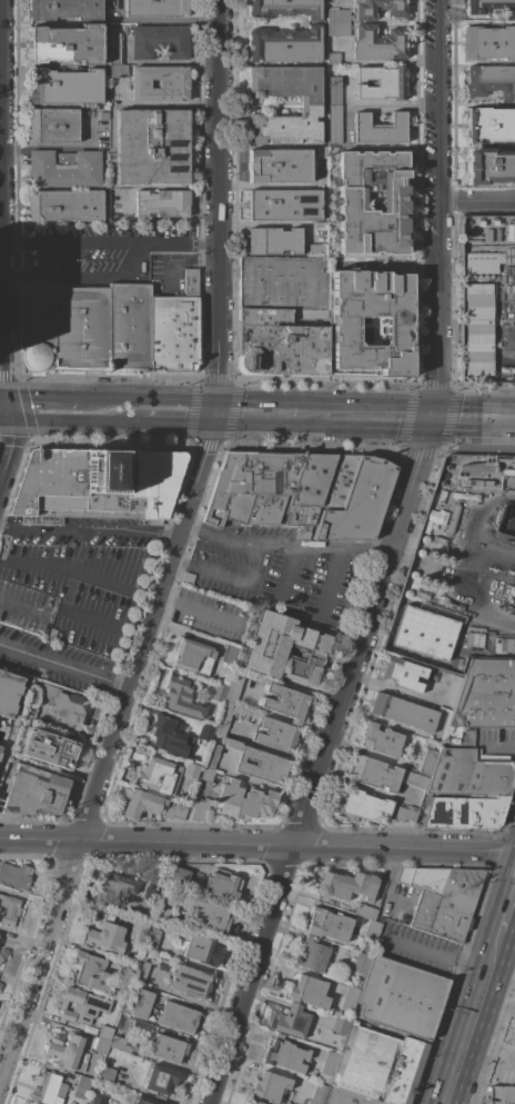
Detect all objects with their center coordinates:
building: (492, 7)
building: (156, 8)
building: (285, 8)
building: (377, 8)
building: (65, 9)
building: (339, 22)
building: (160, 41)
building: (488, 42)
building: (67, 43)
building: (378, 43)
building: (284, 44)
building: (115, 48)
building: (334, 58)
building: (119, 70)
building: (492, 81)
building: (285, 82)
building: (382, 82)
building: (160, 83)
building: (64, 87)
building: (334, 91)
road: (347, 103)
road: (392, 103)
building: (103, 116)
road: (0, 121)
building: (335, 125)
building: (489, 125)
building: (52, 126)
building: (285, 127)
building: (381, 128)
building: (152, 147)
building: (323, 152)
building: (279, 166)
building: (491, 166)
building: (64, 168)
road: (269, 185)
road: (476, 199)
road: (215, 201)
building: (162, 202)
building: (350, 203)
road: (437, 203)
building: (65, 205)
building: (284, 205)
building: (320, 226)
building: (273, 241)
road: (14, 242)
road: (81, 242)
road: (165, 242)
road: (206, 242)
building: (319, 250)
road: (133, 258)
building: (479, 262)
road: (13, 275)
road: (80, 275)
building: (283, 316)
building: (343, 322)
building: (476, 327)
building: (87, 328)
building: (176, 328)
road: (1, 366)
road: (2, 396)
traffic signals: (6, 397)
road: (43, 397)
road: (149, 400)
traffic signals: (215, 402)
road: (249, 404)
road: (359, 406)
traffic signals: (436, 407)
road: (475, 407)
road: (213, 416)
road: (432, 420)
road: (6, 422)
traffic signals: (12, 424)
road: (78, 425)
road: (176, 427)
traffic signals: (211, 429)
road: (262, 430)
road: (333, 431)
road: (391, 434)
traffic signals: (428, 435)
road: (472, 435)
building: (339, 481)
building: (97, 485)
building: (270, 488)
building: (360, 501)
road: (89, 527)
road: (284, 541)
road: (72, 547)
road: (38, 564)
road: (285, 571)
road: (95, 579)
road: (332, 579)
road: (229, 580)
parking lot: (78, 586)
road: (485, 591)
road: (22, 604)
road: (195, 607)
road: (69, 613)
building: (55, 633)
building: (423, 633)
building: (474, 644)
building: (285, 648)
building: (191, 654)
building: (231, 654)
road: (62, 665)
building: (403, 674)
building: (233, 689)
building: (9, 692)
building: (219, 694)
building: (486, 695)
building: (181, 696)
building: (286, 702)
building: (64, 705)
building: (30, 712)
building: (404, 712)
building: (223, 718)
building: (205, 732)
building: (277, 735)
building: (170, 736)
building: (381, 739)
road: (104, 745)
road: (497, 745)
building: (49, 749)
building: (0, 755)
building: (212, 756)
building: (428, 760)
building: (259, 763)
road: (316, 768)
building: (190, 770)
building: (373, 773)
building: (472, 773)
building: (206, 774)
building: (159, 775)
building: (415, 779)
building: (34, 792)
building: (245, 800)
building: (142, 804)
building: (362, 806)
building: (200, 809)
building: (174, 812)
building: (464, 812)
building: (406, 814)
road: (257, 845)
building: (158, 873)
building: (178, 875)
building: (16, 876)
building: (223, 885)
building: (346, 885)
building: (117, 887)
building: (151, 893)
building: (442, 898)
road: (507, 907)
building: (9, 909)
building: (365, 912)
building: (163, 913)
building: (211, 916)
building: (329, 924)
building: (139, 928)
building: (372, 931)
building: (107, 934)
building: (152, 939)
building: (200, 948)
building: (312, 955)
road: (433, 955)
building: (1, 958)
building: (361, 963)
building: (127, 969)
building: (89, 972)
building: (141, 973)
building: (190, 981)
building: (307, 991)
building: (400, 997)
building: (350, 998)
road: (496, 1003)
building: (80, 1005)
building: (164, 1013)
road: (472, 1017)
building: (292, 1022)
building: (341, 1026)
building: (105, 1033)
building: (120, 1044)
building: (102, 1045)
building: (170, 1048)
road: (489, 1048)
building: (68, 1053)
building: (285, 1055)
building: (381, 1064)
building: (327, 1068)
building: (108, 1074)
building: (161, 1081)
building: (82, 1084)
building: (270, 1086)
building: (49, 1088)
building: (319, 1094)
building: (501, 1095)
building: (350, 1097)
building: (99, 1098)
building: (145, 1101)
building: (255, 1102)

